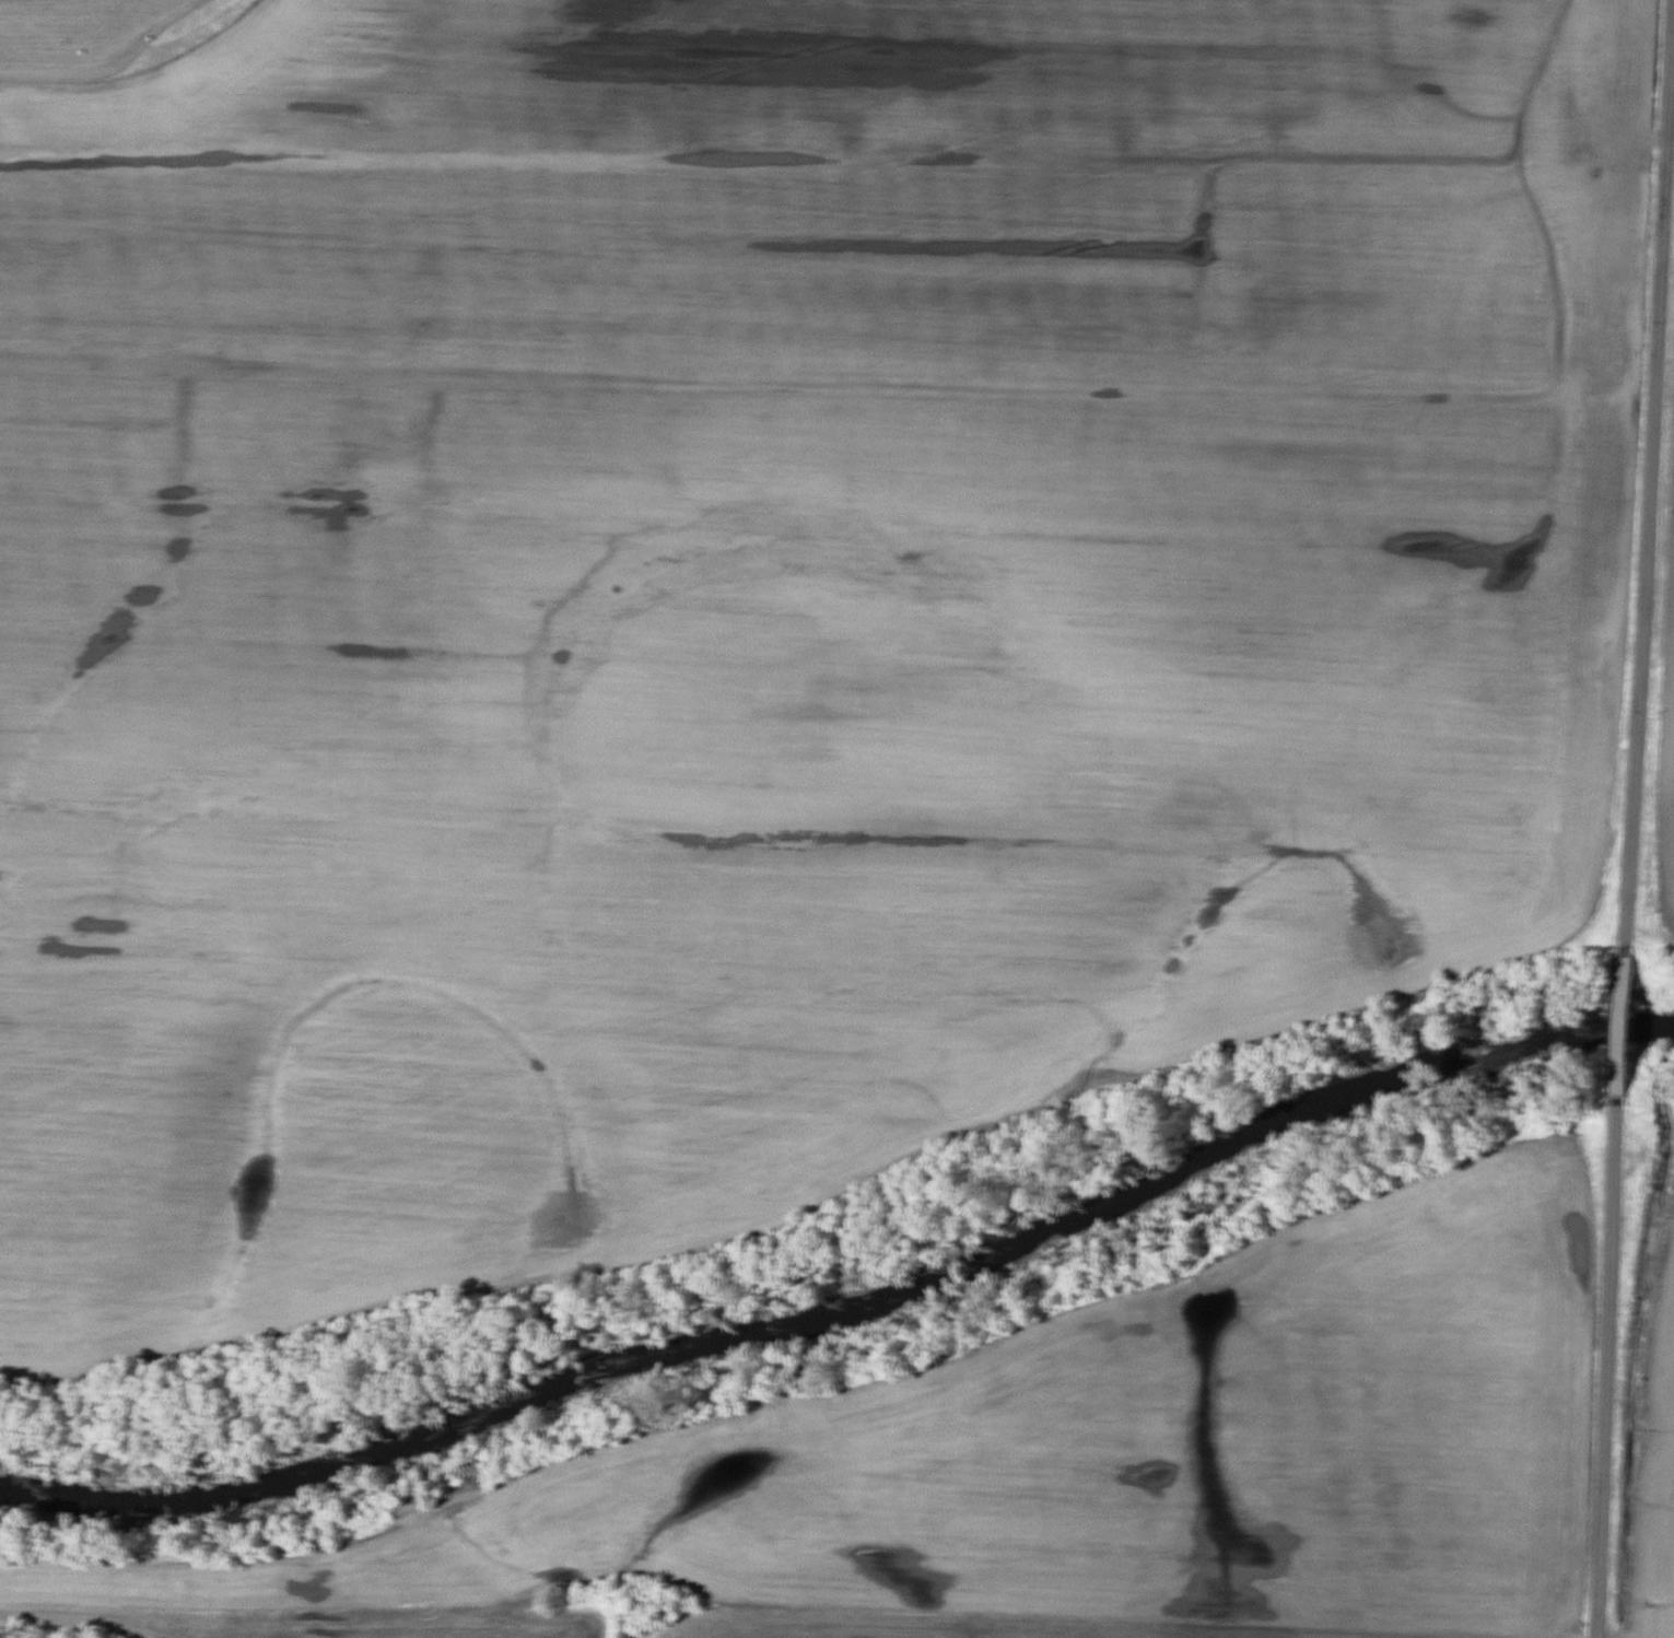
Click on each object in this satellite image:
crop: (763, 599)
crop: (1664, 677)
road: (1635, 819)
river: (850, 1314)
crop: (1655, 1464)
crop: (329, 1619)
crop: (992, 1624)

